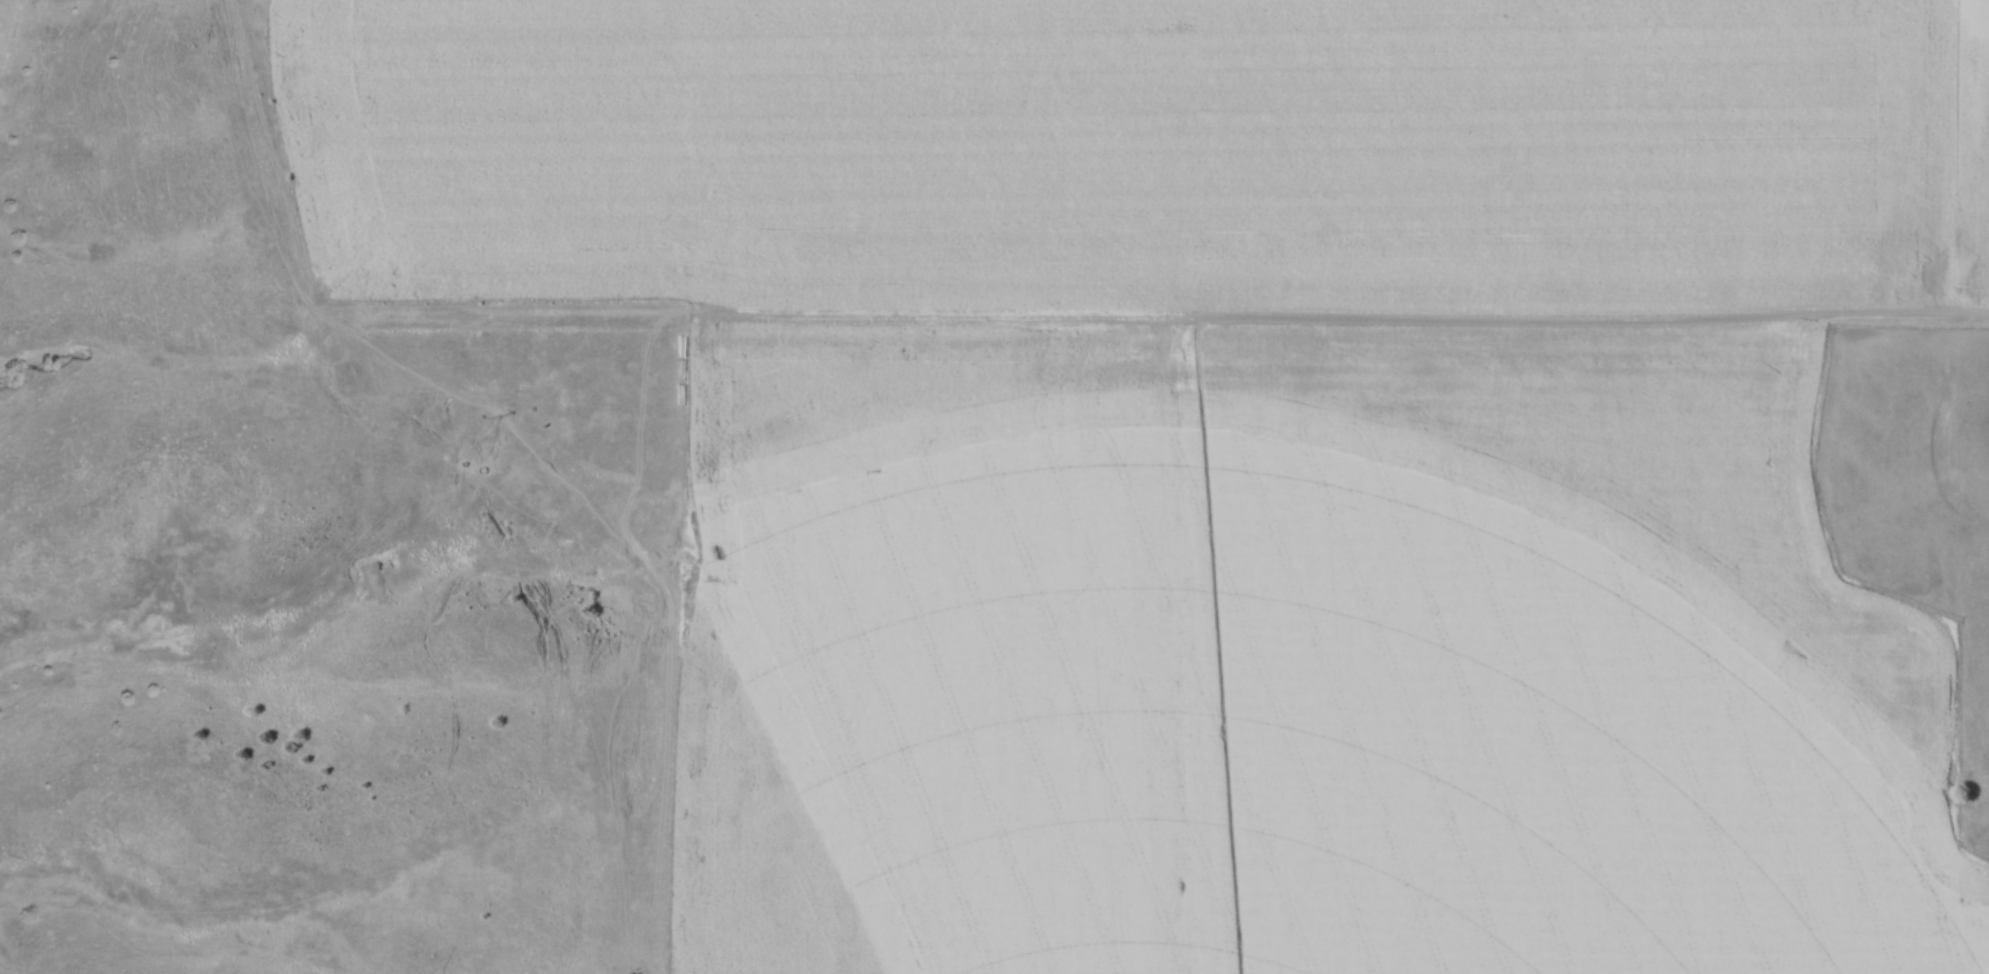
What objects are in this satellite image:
crop: (1135, 149)

